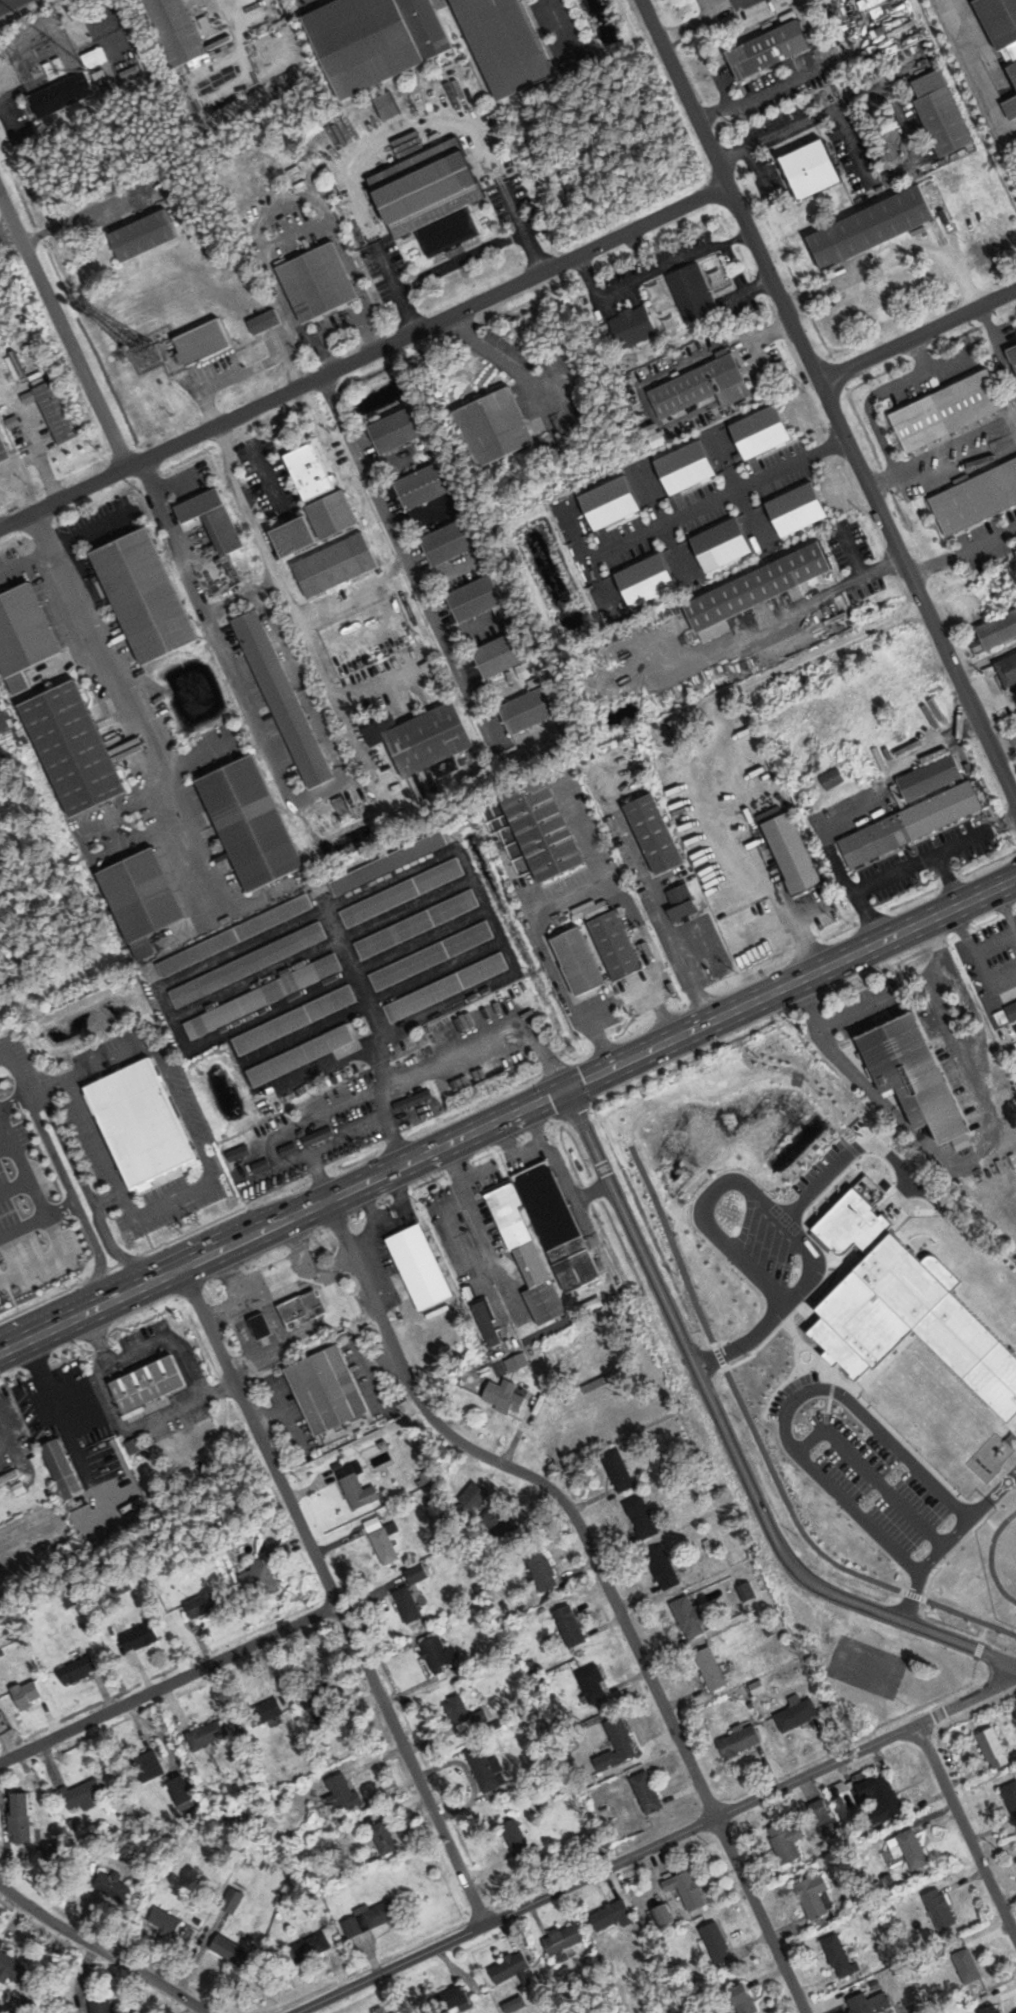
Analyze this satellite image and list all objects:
road: (7, 3)
building: (1000, 19)
road: (692, 23)
building: (430, 26)
road: (560, 26)
building: (175, 29)
building: (365, 42)
building: (505, 44)
building: (769, 49)
building: (1013, 66)
building: (61, 94)
building: (388, 105)
building: (1011, 107)
building: (942, 112)
building: (813, 168)
building: (431, 196)
building: (873, 226)
building: (145, 235)
road: (891, 258)
road: (458, 259)
building: (318, 282)
building: (698, 287)
building: (265, 322)
building: (633, 326)
road: (63, 333)
road: (916, 335)
building: (203, 342)
building: (1014, 352)
road: (363, 356)
road: (507, 360)
building: (701, 387)
road: (828, 404)
building: (948, 410)
building: (58, 411)
building: (495, 426)
building: (397, 430)
building: (3, 451)
building: (310, 471)
building: (423, 486)
road: (721, 495)
building: (977, 498)
building: (213, 518)
building: (317, 523)
building: (449, 542)
road: (59, 544)
road: (396, 546)
building: (335, 565)
road: (277, 582)
building: (753, 590)
building: (149, 595)
building: (477, 599)
road: (878, 616)
building: (998, 630)
building: (24, 636)
building: (506, 657)
building: (1009, 669)
road: (120, 697)
building: (283, 698)
building: (528, 710)
building: (427, 738)
building: (80, 747)
road: (194, 758)
building: (926, 776)
building: (832, 779)
building: (259, 822)
building: (906, 823)
building: (535, 828)
building: (655, 834)
building: (786, 852)
building: (388, 863)
building: (402, 892)
building: (145, 898)
road: (568, 899)
road: (659, 902)
building: (682, 902)
road: (785, 913)
building: (417, 924)
building: (235, 935)
building: (608, 942)
building: (431, 956)
building: (570, 960)
building: (247, 965)
building: (446, 987)
building: (262, 996)
road: (882, 1000)
building: (1011, 1011)
building: (294, 1019)
road: (470, 1049)
building: (300, 1055)
road: (20, 1072)
building: (918, 1076)
traffic signals: (565, 1089)
road: (16, 1099)
building: (414, 1101)
road: (507, 1115)
building: (143, 1121)
road: (346, 1136)
road: (6, 1147)
road: (205, 1161)
road: (15, 1186)
road: (107, 1198)
road: (92, 1204)
road: (76, 1206)
road: (775, 1213)
road: (45, 1214)
parking lot: (29, 1215)
building: (857, 1224)
road: (23, 1225)
building: (543, 1238)
building: (420, 1267)
building: (762, 1283)
building: (586, 1295)
building: (304, 1307)
building: (915, 1319)
building: (487, 1323)
building: (784, 1349)
building: (148, 1386)
building: (327, 1390)
building: (503, 1397)
road: (846, 1397)
building: (901, 1408)
road: (728, 1441)
building: (135, 1446)
building: (63, 1470)
building: (618, 1470)
building: (980, 1470)
road: (872, 1473)
building: (357, 1487)
building: (474, 1497)
building: (641, 1518)
building: (500, 1525)
building: (384, 1546)
building: (663, 1568)
building: (543, 1572)
building: (416, 1574)
road: (600, 1574)
building: (261, 1575)
building: (746, 1592)
road: (336, 1594)
building: (407, 1603)
building: (205, 1605)
building: (690, 1617)
building: (569, 1627)
building: (139, 1638)
building: (436, 1654)
building: (710, 1668)
building: (77, 1670)
road: (170, 1682)
building: (592, 1682)
building: (320, 1693)
building: (264, 1711)
building: (459, 1711)
building: (797, 1714)
building: (207, 1734)
building: (619, 1741)
building: (739, 1741)
building: (994, 1749)
building: (148, 1765)
building: (486, 1769)
building: (182, 1792)
building: (647, 1792)
building: (82, 1793)
building: (342, 1794)
building: (887, 1795)
building: (1011, 1795)
building: (821, 1811)
building: (20, 1818)
road: (966, 1833)
building: (515, 1835)
building: (384, 1837)
building: (785, 1839)
road: (655, 1845)
building: (911, 1848)
building: (112, 1884)
building: (687, 1888)
building: (813, 1895)
building: (940, 1908)
building: (610, 1914)
building: (374, 1915)
building: (666, 1915)
building: (165, 1920)
building: (563, 1941)
building: (716, 1941)
building: (310, 1947)
road: (100, 1950)
building: (231, 1950)
building: (835, 1950)
building: (966, 1964)
building: (509, 1967)
building: (11, 1969)
building: (453, 1997)
building: (872, 2003)
building: (102, 2006)
building: (990, 2009)

